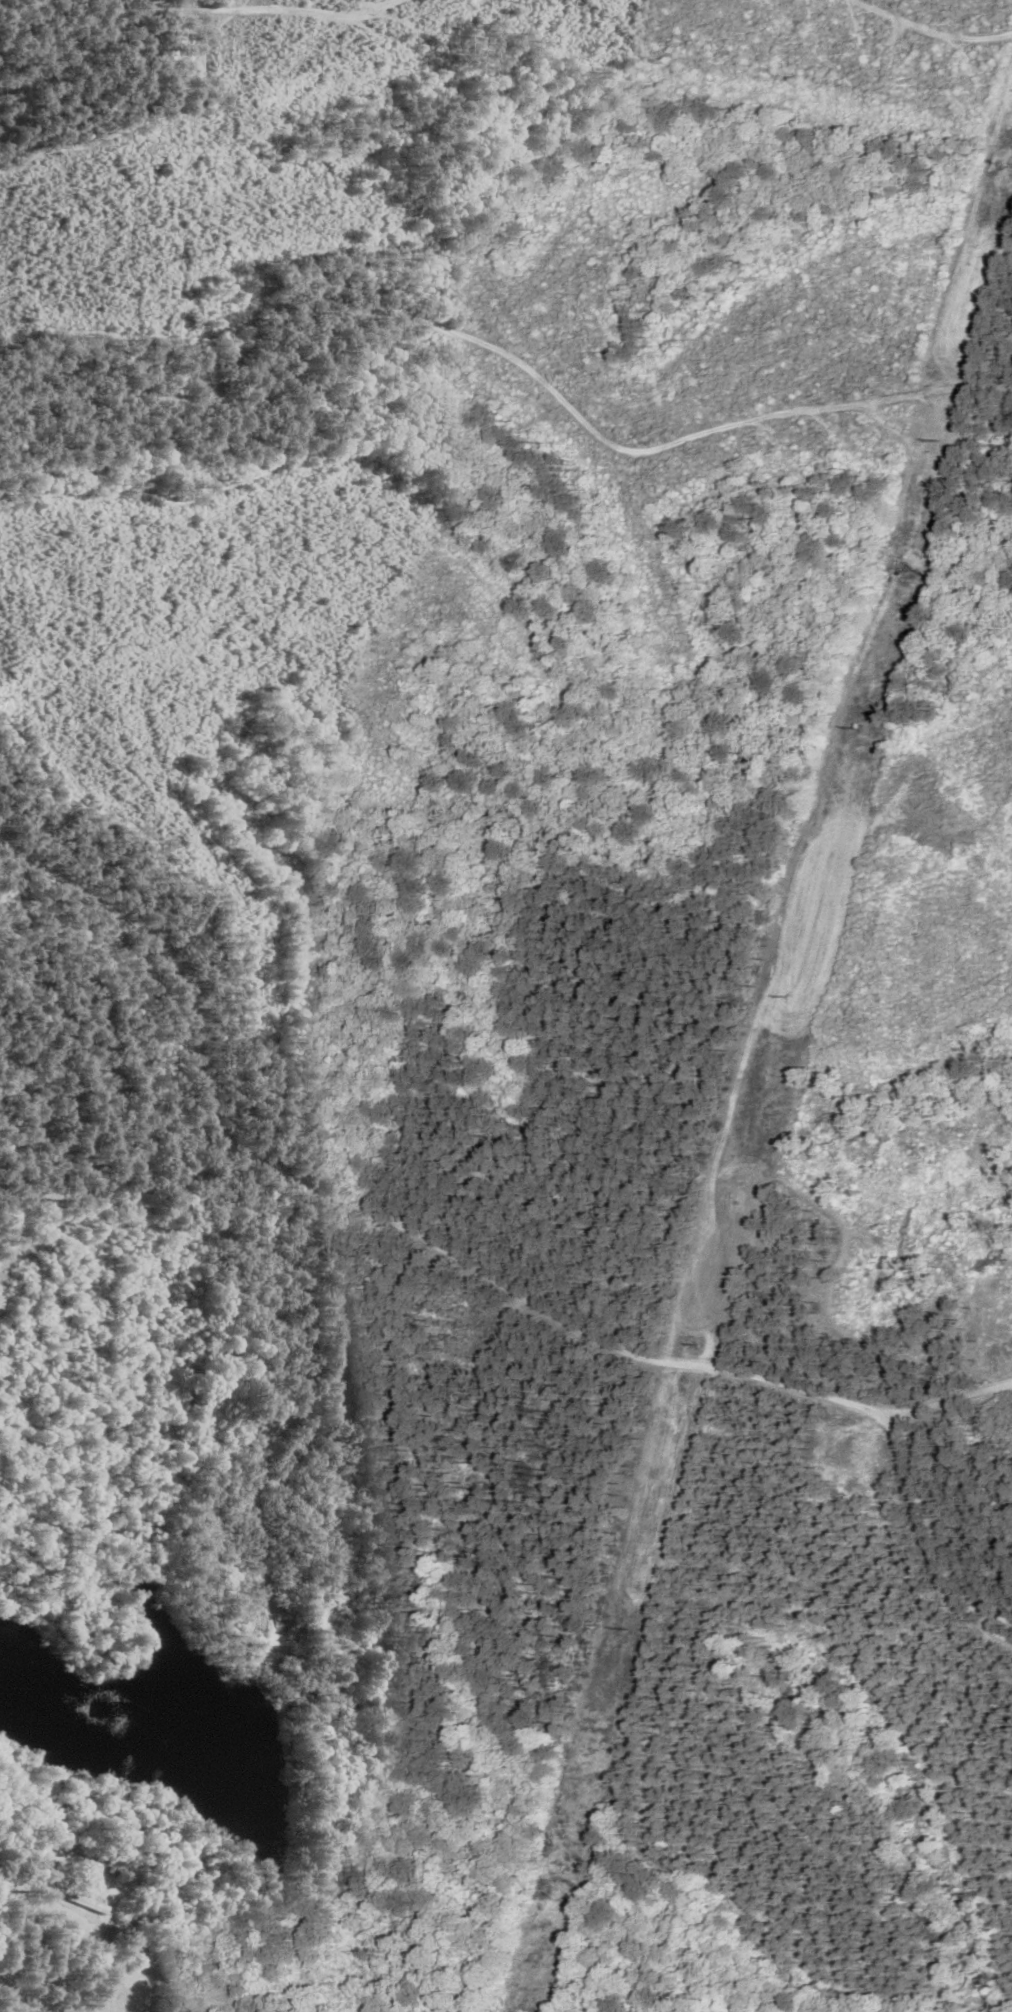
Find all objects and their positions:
road: (917, 33)
road: (111, 40)
road: (491, 381)
road: (673, 1330)
road: (274, 1365)
road: (950, 1383)
building: (179, 2011)

